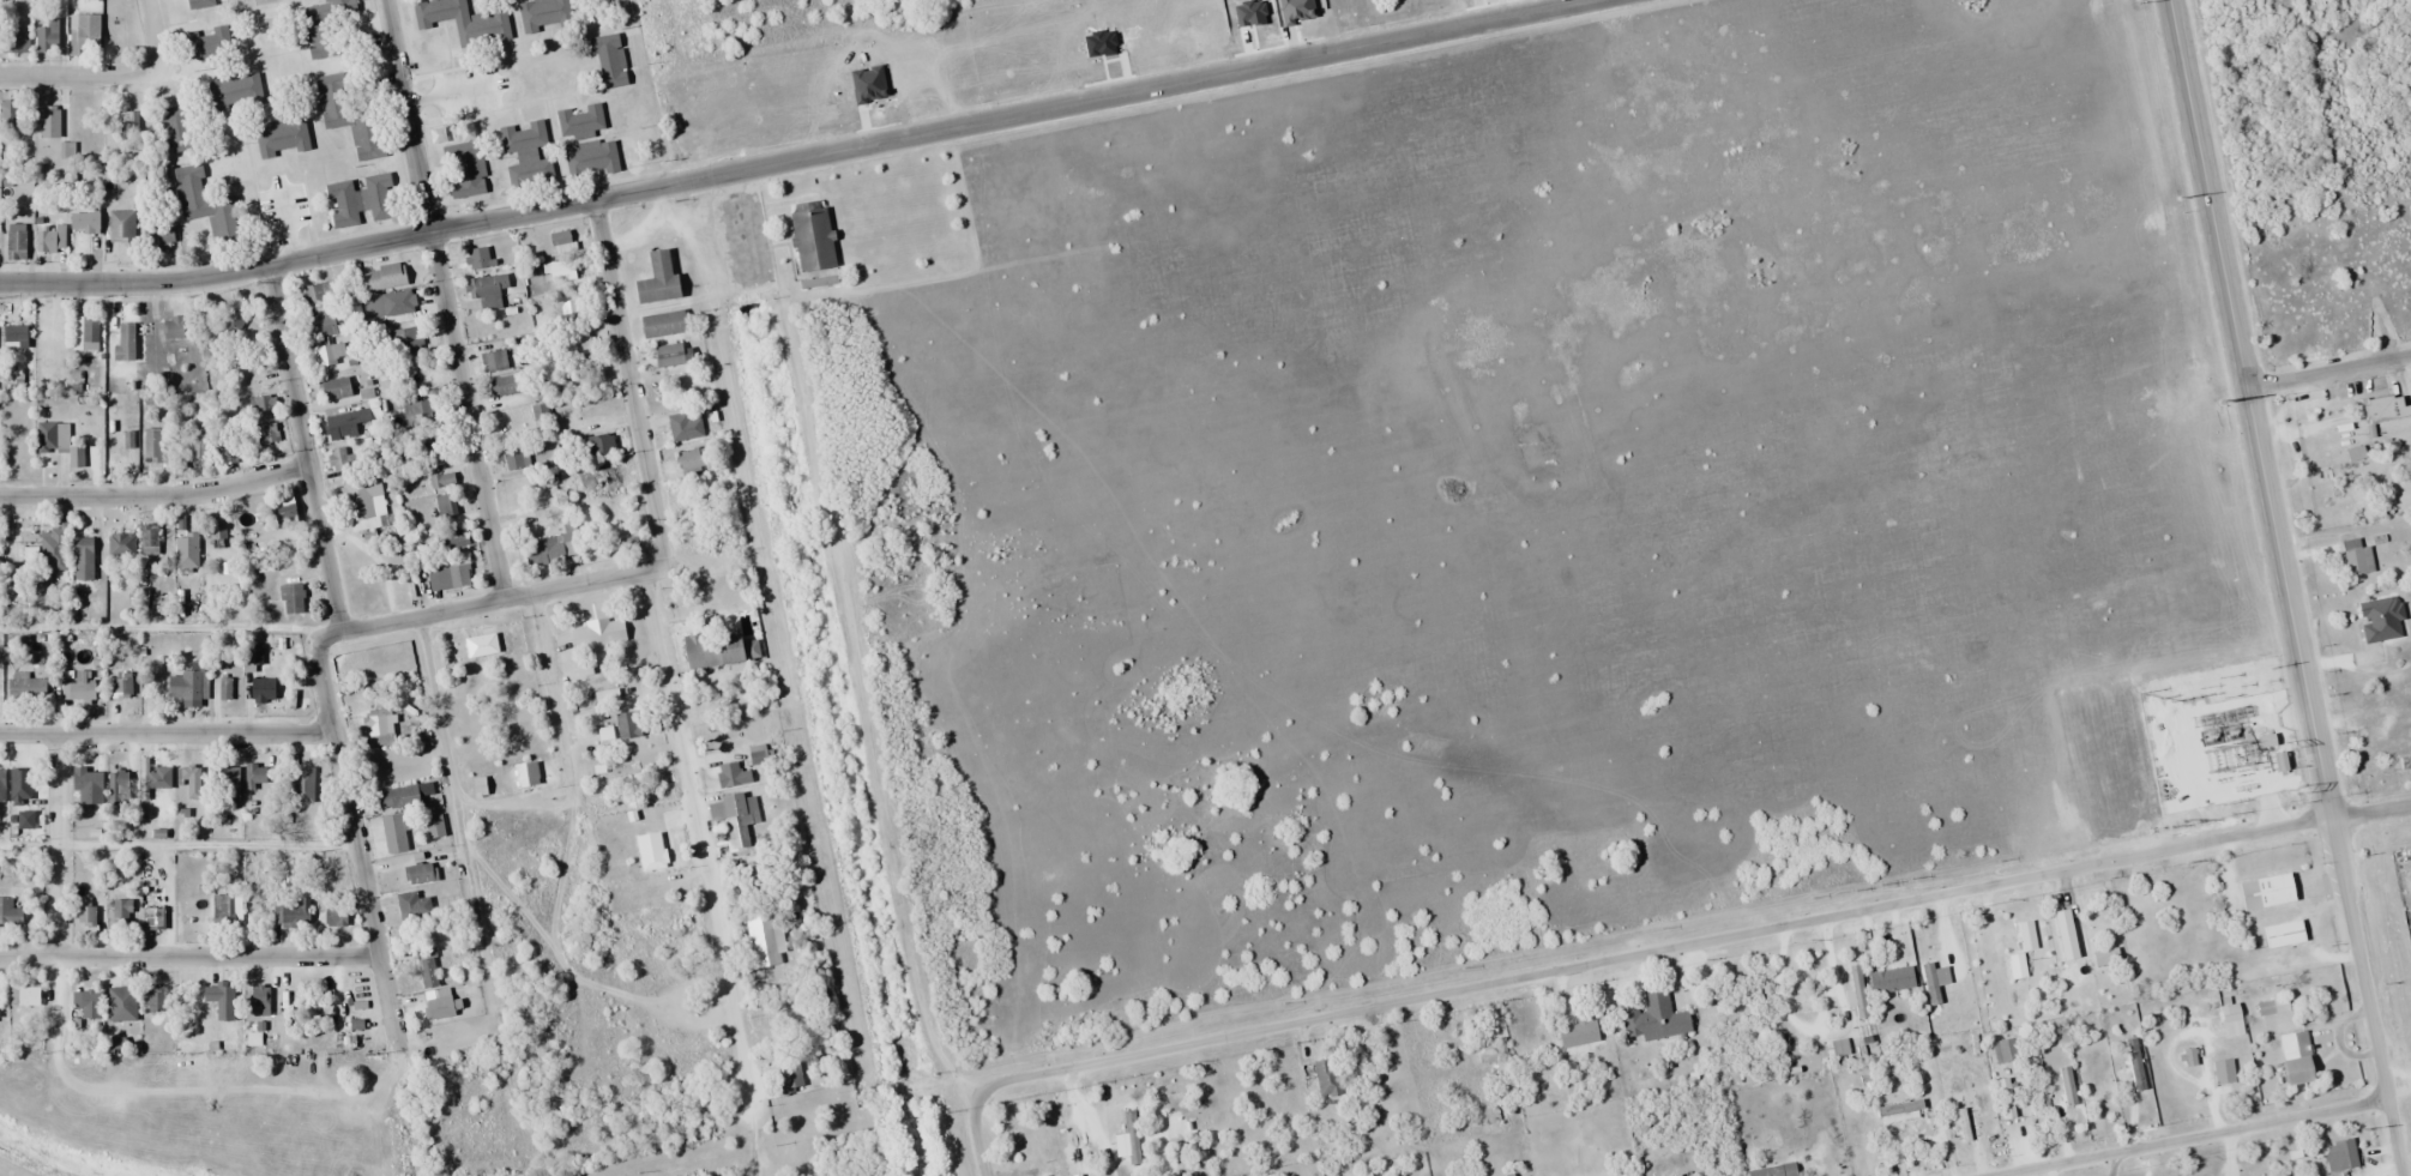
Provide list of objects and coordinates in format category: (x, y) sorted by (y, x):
power tower: (2140, 2)
building: (200, 4)
building: (543, 13)
building: (463, 20)
building: (327, 28)
building: (84, 34)
road: (153, 35)
building: (47, 37)
building: (14, 41)
building: (206, 44)
building: (610, 61)
road: (77, 77)
building: (234, 92)
building: (10, 110)
building: (348, 116)
building: (49, 122)
building: (580, 122)
building: (133, 123)
building: (176, 129)
building: (281, 137)
building: (526, 156)
building: (591, 159)
road: (800, 159)
building: (463, 170)
building: (357, 199)
building: (204, 205)
building: (85, 223)
building: (810, 235)
building: (50, 240)
building: (562, 241)
building: (16, 246)
building: (477, 259)
building: (403, 269)
building: (562, 271)
building: (658, 279)
building: (490, 290)
building: (317, 293)
road: (441, 300)
building: (399, 303)
building: (571, 309)
building: (234, 319)
building: (321, 321)
building: (664, 325)
building: (173, 328)
building: (85, 333)
building: (16, 338)
building: (405, 342)
building: (584, 342)
building: (329, 354)
building: (673, 356)
building: (493, 362)
road: (2328, 373)
building: (508, 386)
building: (336, 388)
building: (264, 403)
power tower: (2220, 406)
road: (2250, 408)
building: (2308, 409)
building: (2387, 409)
building: (418, 411)
building: (540, 414)
building: (345, 424)
building: (685, 426)
building: (265, 435)
building: (59, 444)
building: (198, 446)
building: (434, 446)
building: (151, 447)
building: (117, 450)
building: (517, 458)
building: (338, 460)
building: (691, 462)
building: (605, 480)
building: (442, 482)
road: (155, 497)
building: (363, 502)
building: (446, 506)
building: (285, 512)
building: (215, 531)
building: (149, 541)
building: (187, 541)
building: (120, 545)
building: (53, 549)
building: (548, 550)
building: (2357, 559)
building: (84, 560)
building: (448, 578)
building: (291, 599)
road: (489, 602)
building: (2381, 620)
building: (597, 643)
building: (482, 646)
building: (703, 651)
road: (314, 652)
road: (659, 657)
power tower: (2272, 668)
building: (121, 685)
building: (188, 686)
building: (79, 689)
building: (26, 690)
building: (264, 692)
road: (551, 700)
building: (410, 712)
building: (628, 725)
building: (380, 730)
road: (164, 732)
power substation: (2240, 736)
power tower: (2285, 747)
building: (760, 755)
building: (2406, 758)
building: (731, 776)
building: (255, 777)
building: (159, 778)
building: (189, 780)
building: (312, 780)
building: (2, 784)
building: (229, 784)
building: (88, 786)
building: (20, 788)
building: (117, 788)
power tower: (2296, 789)
building: (399, 798)
power tower: (2222, 806)
road: (457, 812)
building: (737, 821)
building: (435, 827)
building: (394, 836)
road: (56, 844)
building: (652, 852)
building: (420, 875)
building: (2267, 892)
building: (412, 906)
building: (223, 911)
building: (10, 915)
building: (86, 915)
building: (121, 915)
building: (296, 915)
building: (331, 916)
building: (153, 919)
building: (2285, 934)
building: (765, 941)
road: (1652, 952)
road: (187, 955)
building: (427, 969)
building: (25, 996)
road: (2365, 996)
building: (156, 999)
building: (1894, 1000)
building: (221, 1001)
building: (260, 1001)
building: (122, 1005)
building: (86, 1006)
building: (442, 1006)
building: (1654, 1020)
building: (1578, 1033)
building: (2008, 1050)
building: (2297, 1057)
building: (2224, 1072)
building: (2140, 1075)
building: (791, 1078)
building: (1327, 1078)
building: (2071, 1091)
building: (2005, 1100)
power tower: (2363, 1129)
road: (2198, 1139)
building: (2345, 1154)
building: (1776, 1170)
building: (1678, 1175)

